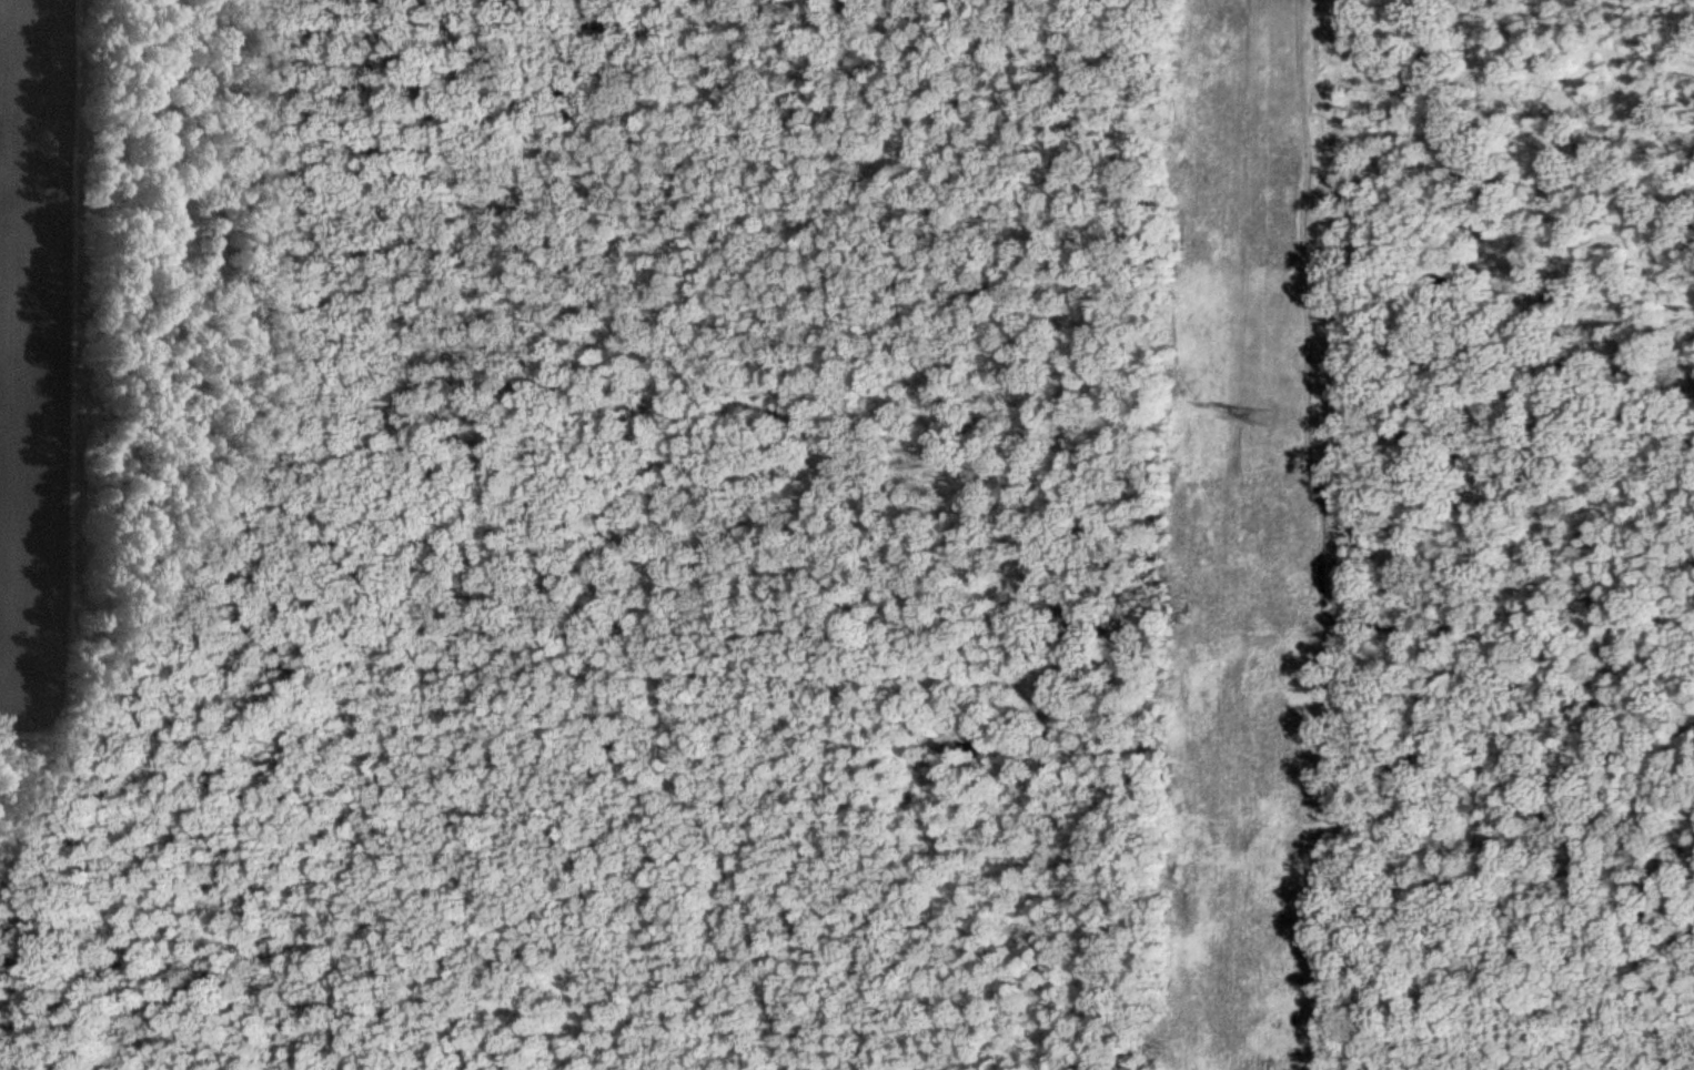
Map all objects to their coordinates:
power tower: (1253, 418)

